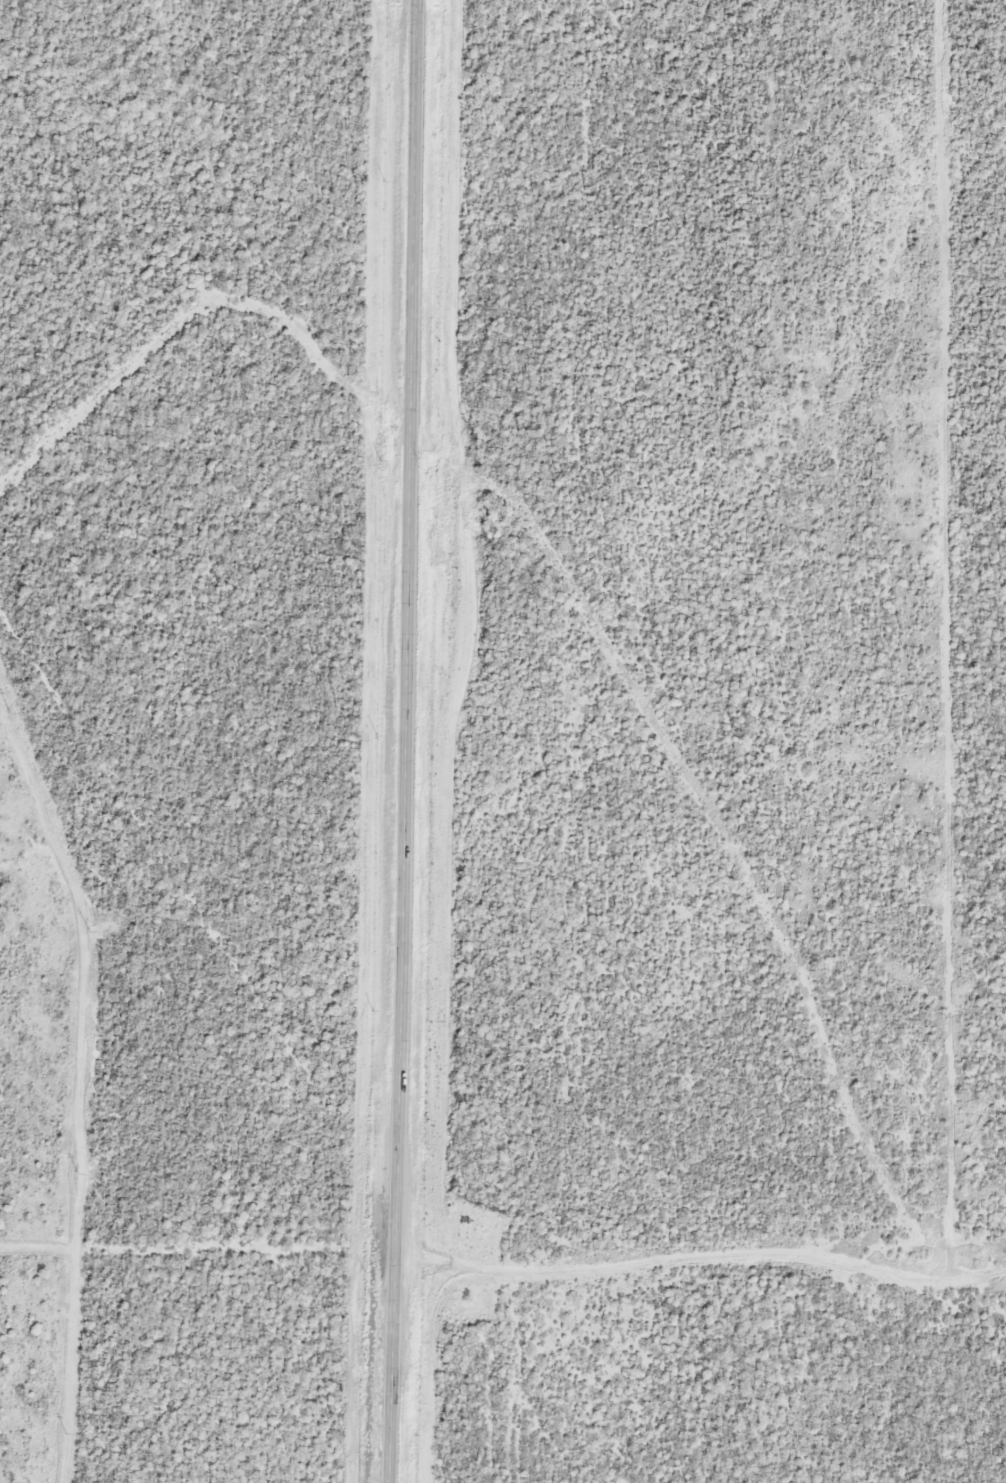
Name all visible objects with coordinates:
power tower: (11, 712)
road: (398, 741)
power tower: (88, 930)
power tower: (78, 1175)
road: (696, 1268)
power tower: (66, 1433)

